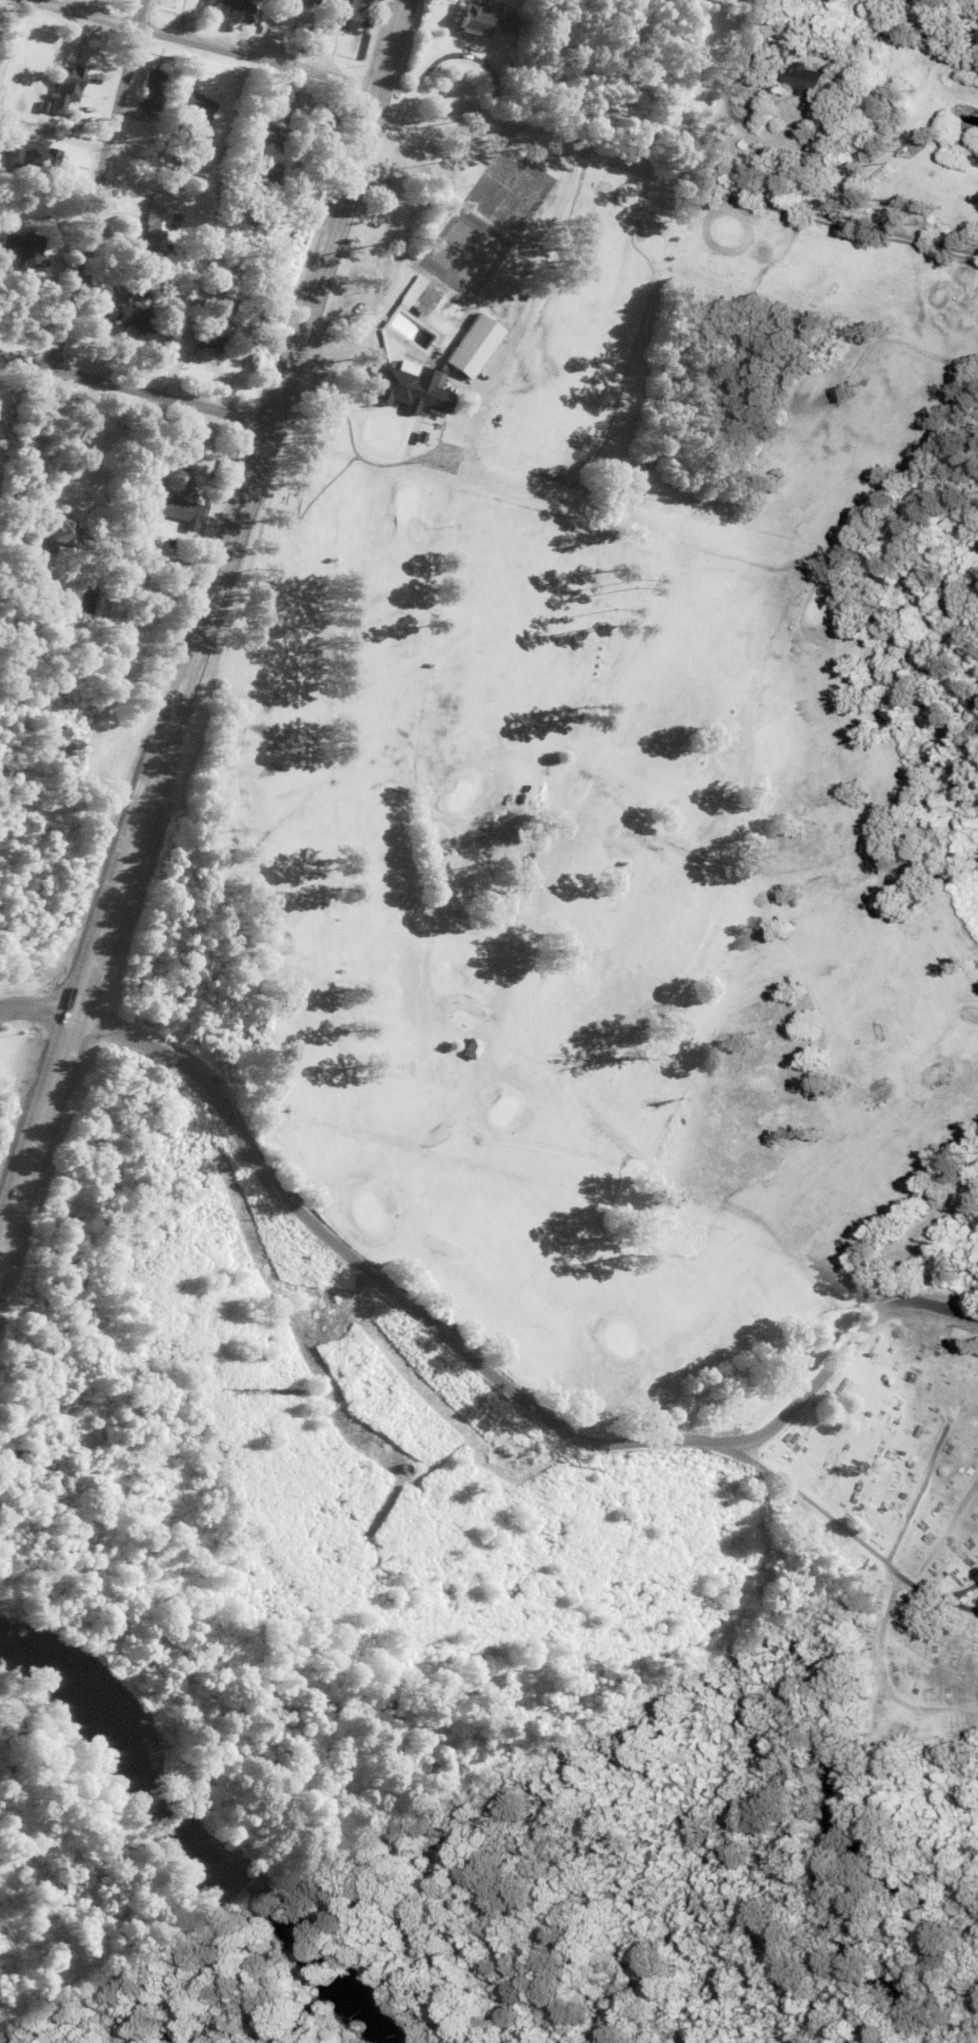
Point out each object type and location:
road: (10, 39)
road: (204, 41)
road: (52, 138)
road: (96, 182)
road: (133, 385)
road: (238, 506)
park: (606, 752)
road: (36, 1000)
road: (35, 1119)
road: (492, 1369)
road: (838, 1518)
park: (886, 1530)
road: (954, 1594)

